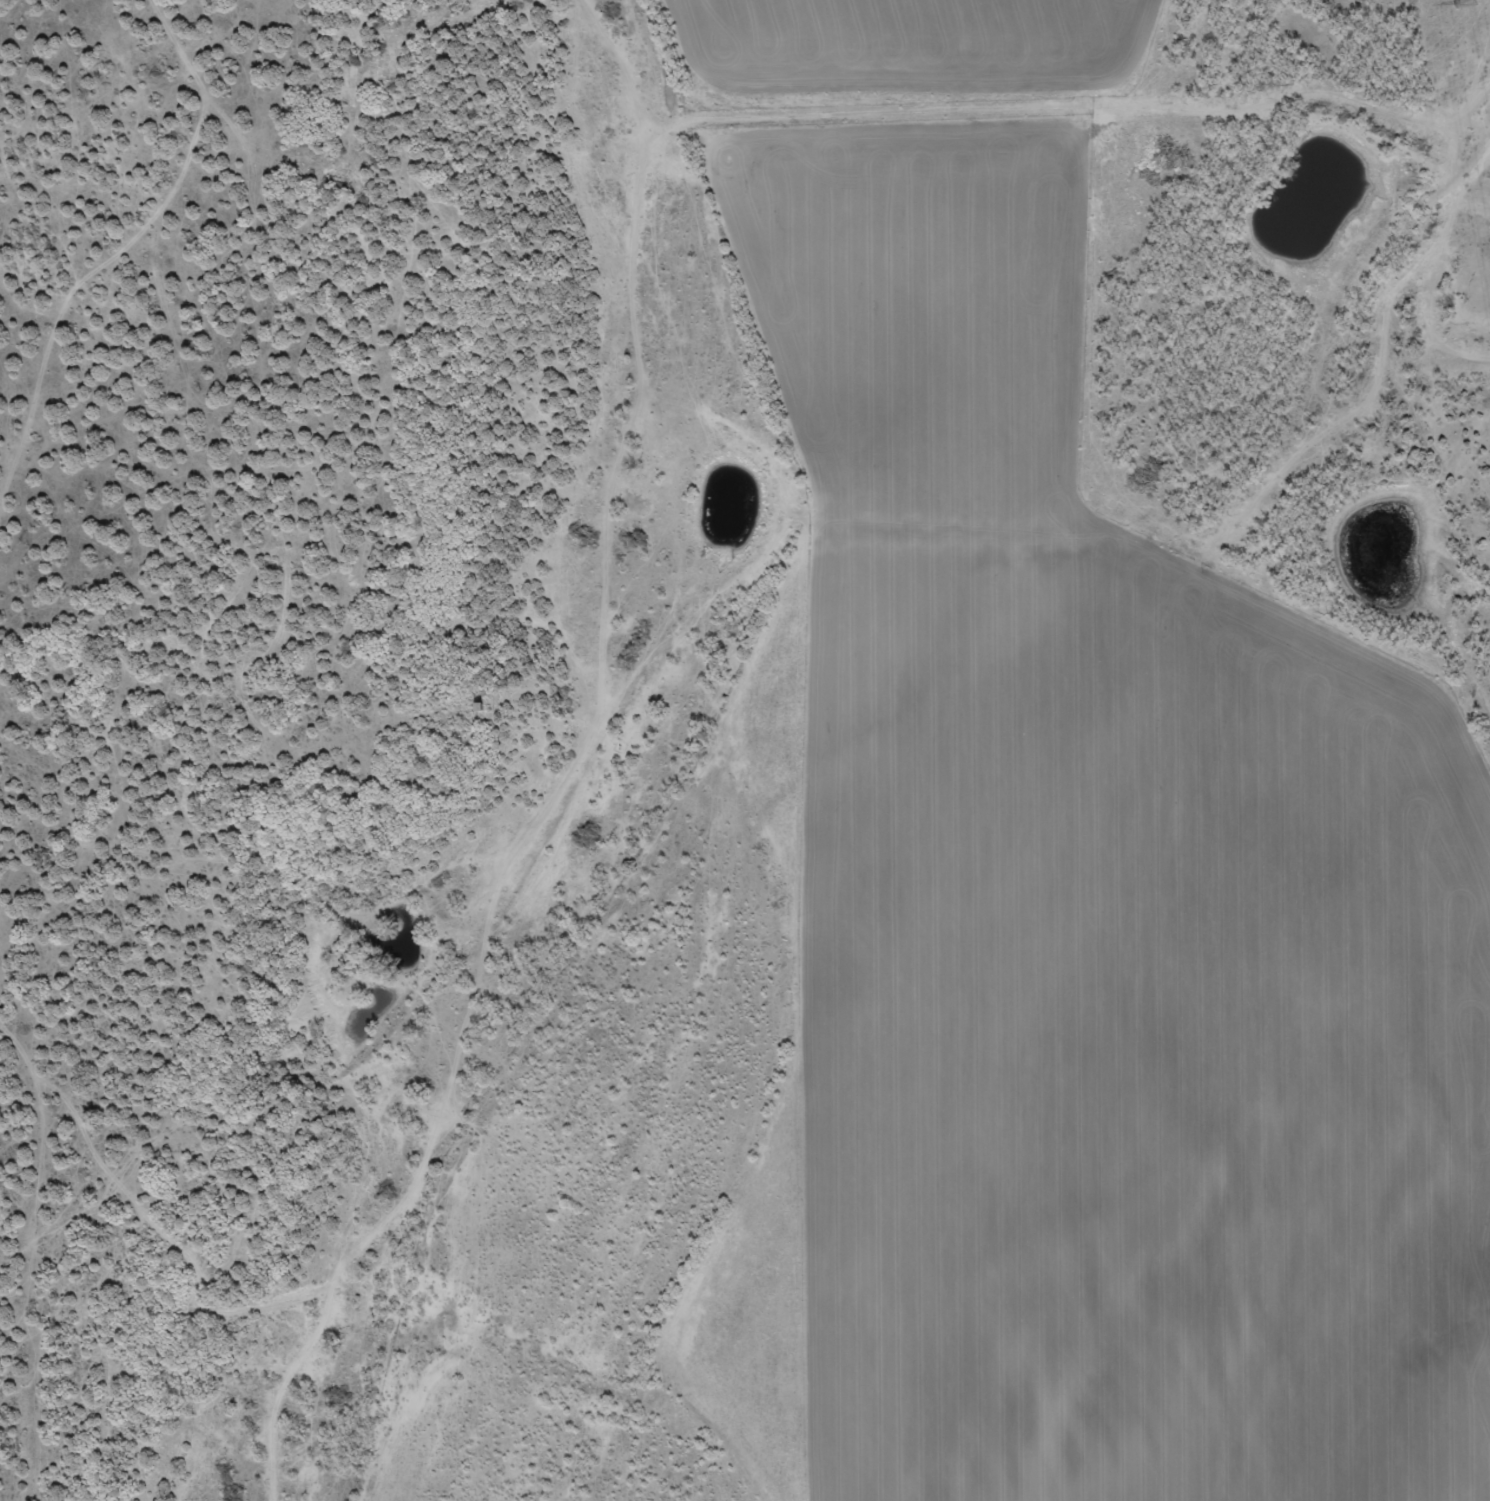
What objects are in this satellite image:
power tower: (1468, 0)

